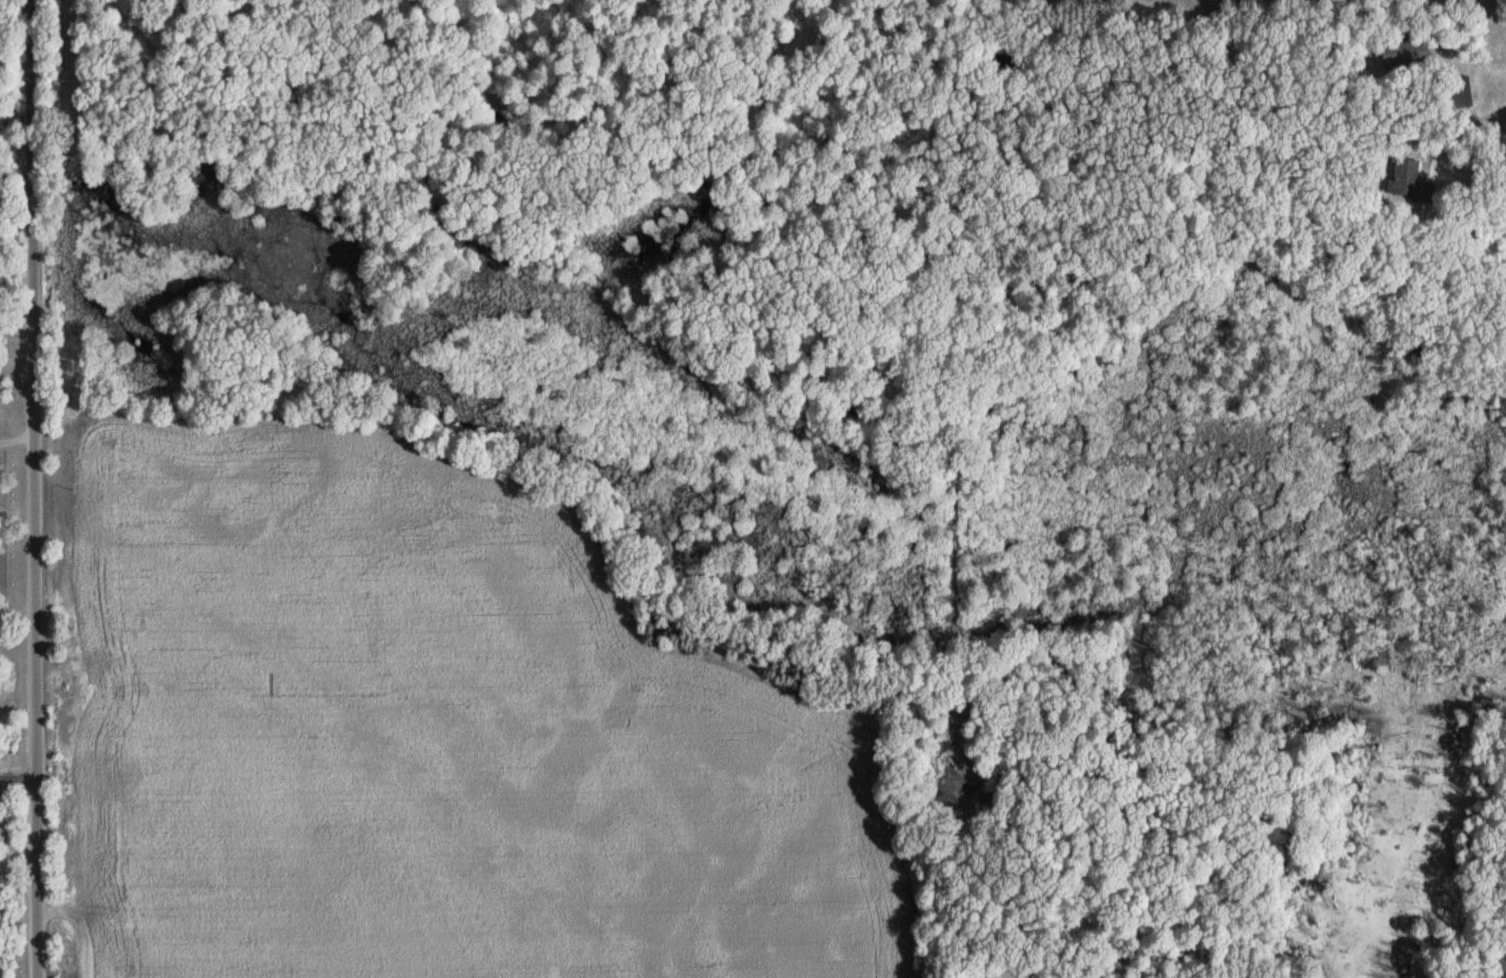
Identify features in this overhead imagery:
building: (1405, 52)
building: (1457, 92)
road: (1464, 127)
road: (14, 438)
road: (27, 489)
road: (14, 611)
building: (92, 661)
road: (19, 769)

